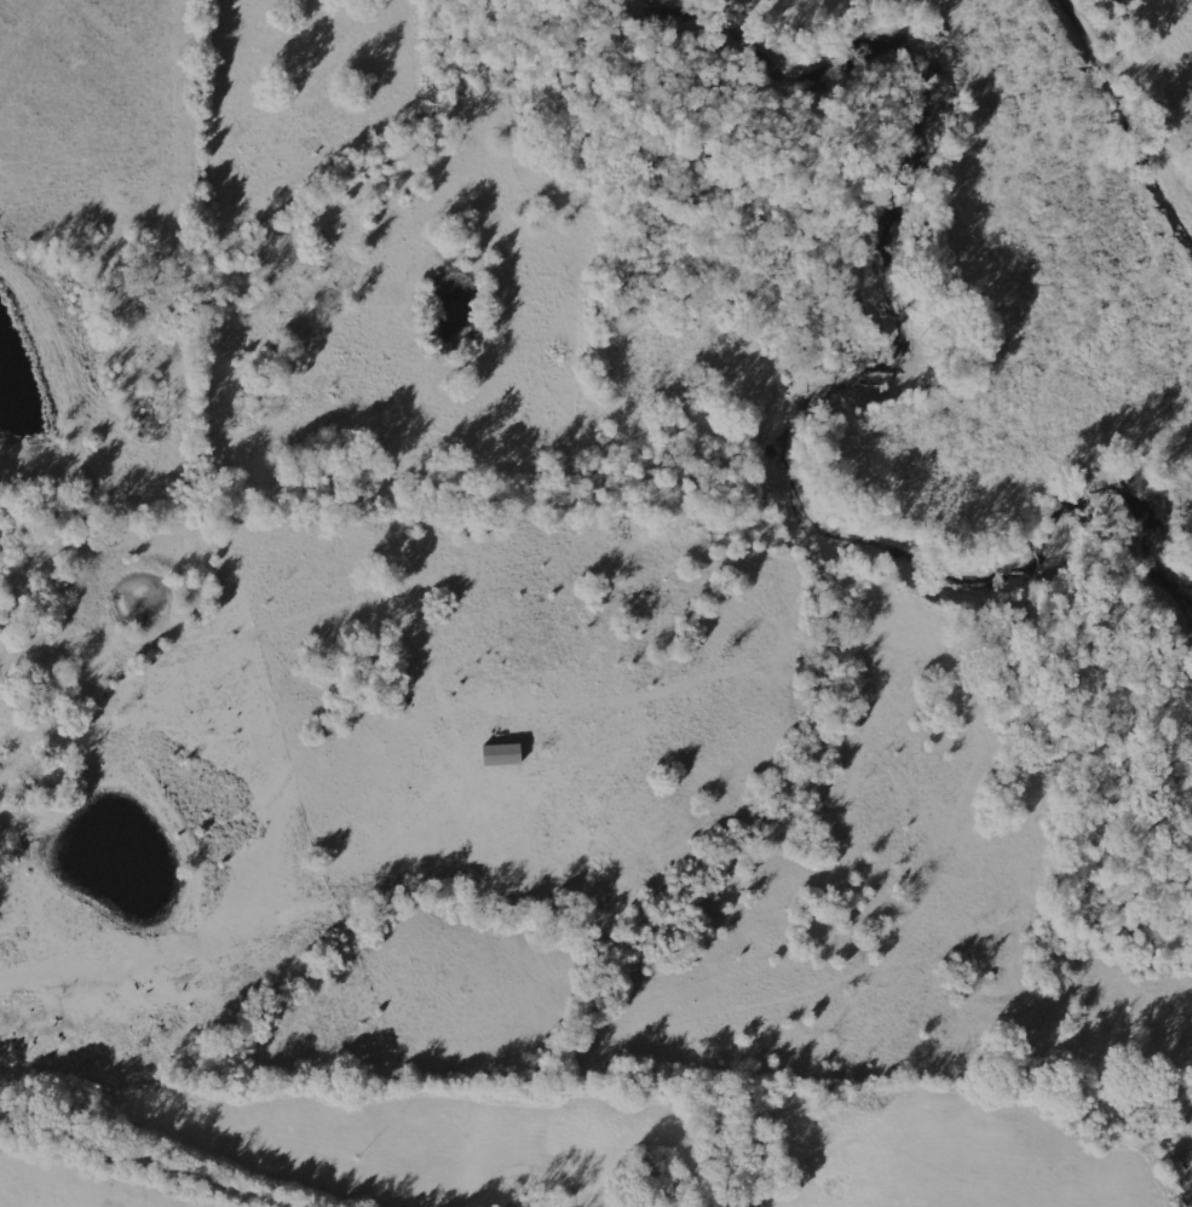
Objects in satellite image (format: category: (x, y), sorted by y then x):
road: (139, 1161)

